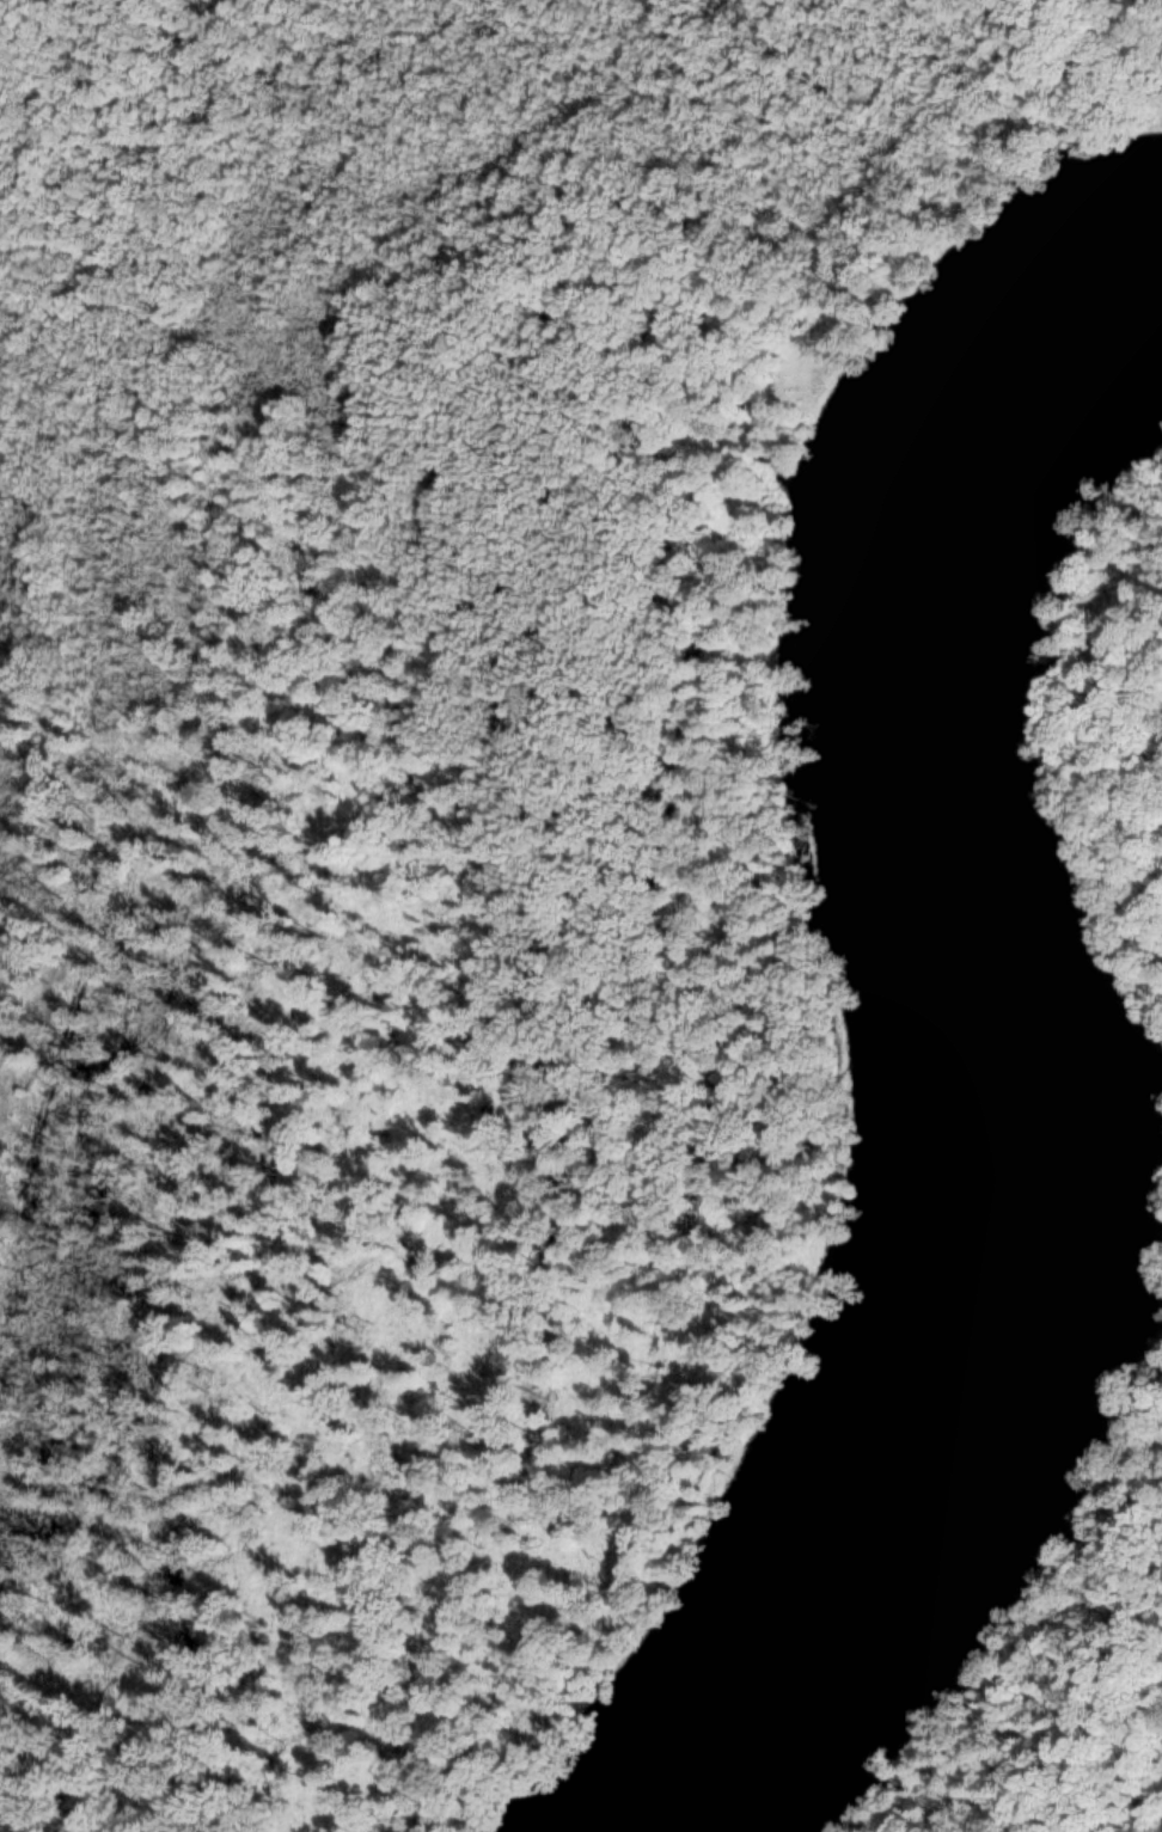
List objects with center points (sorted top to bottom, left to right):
river: (987, 1052)

